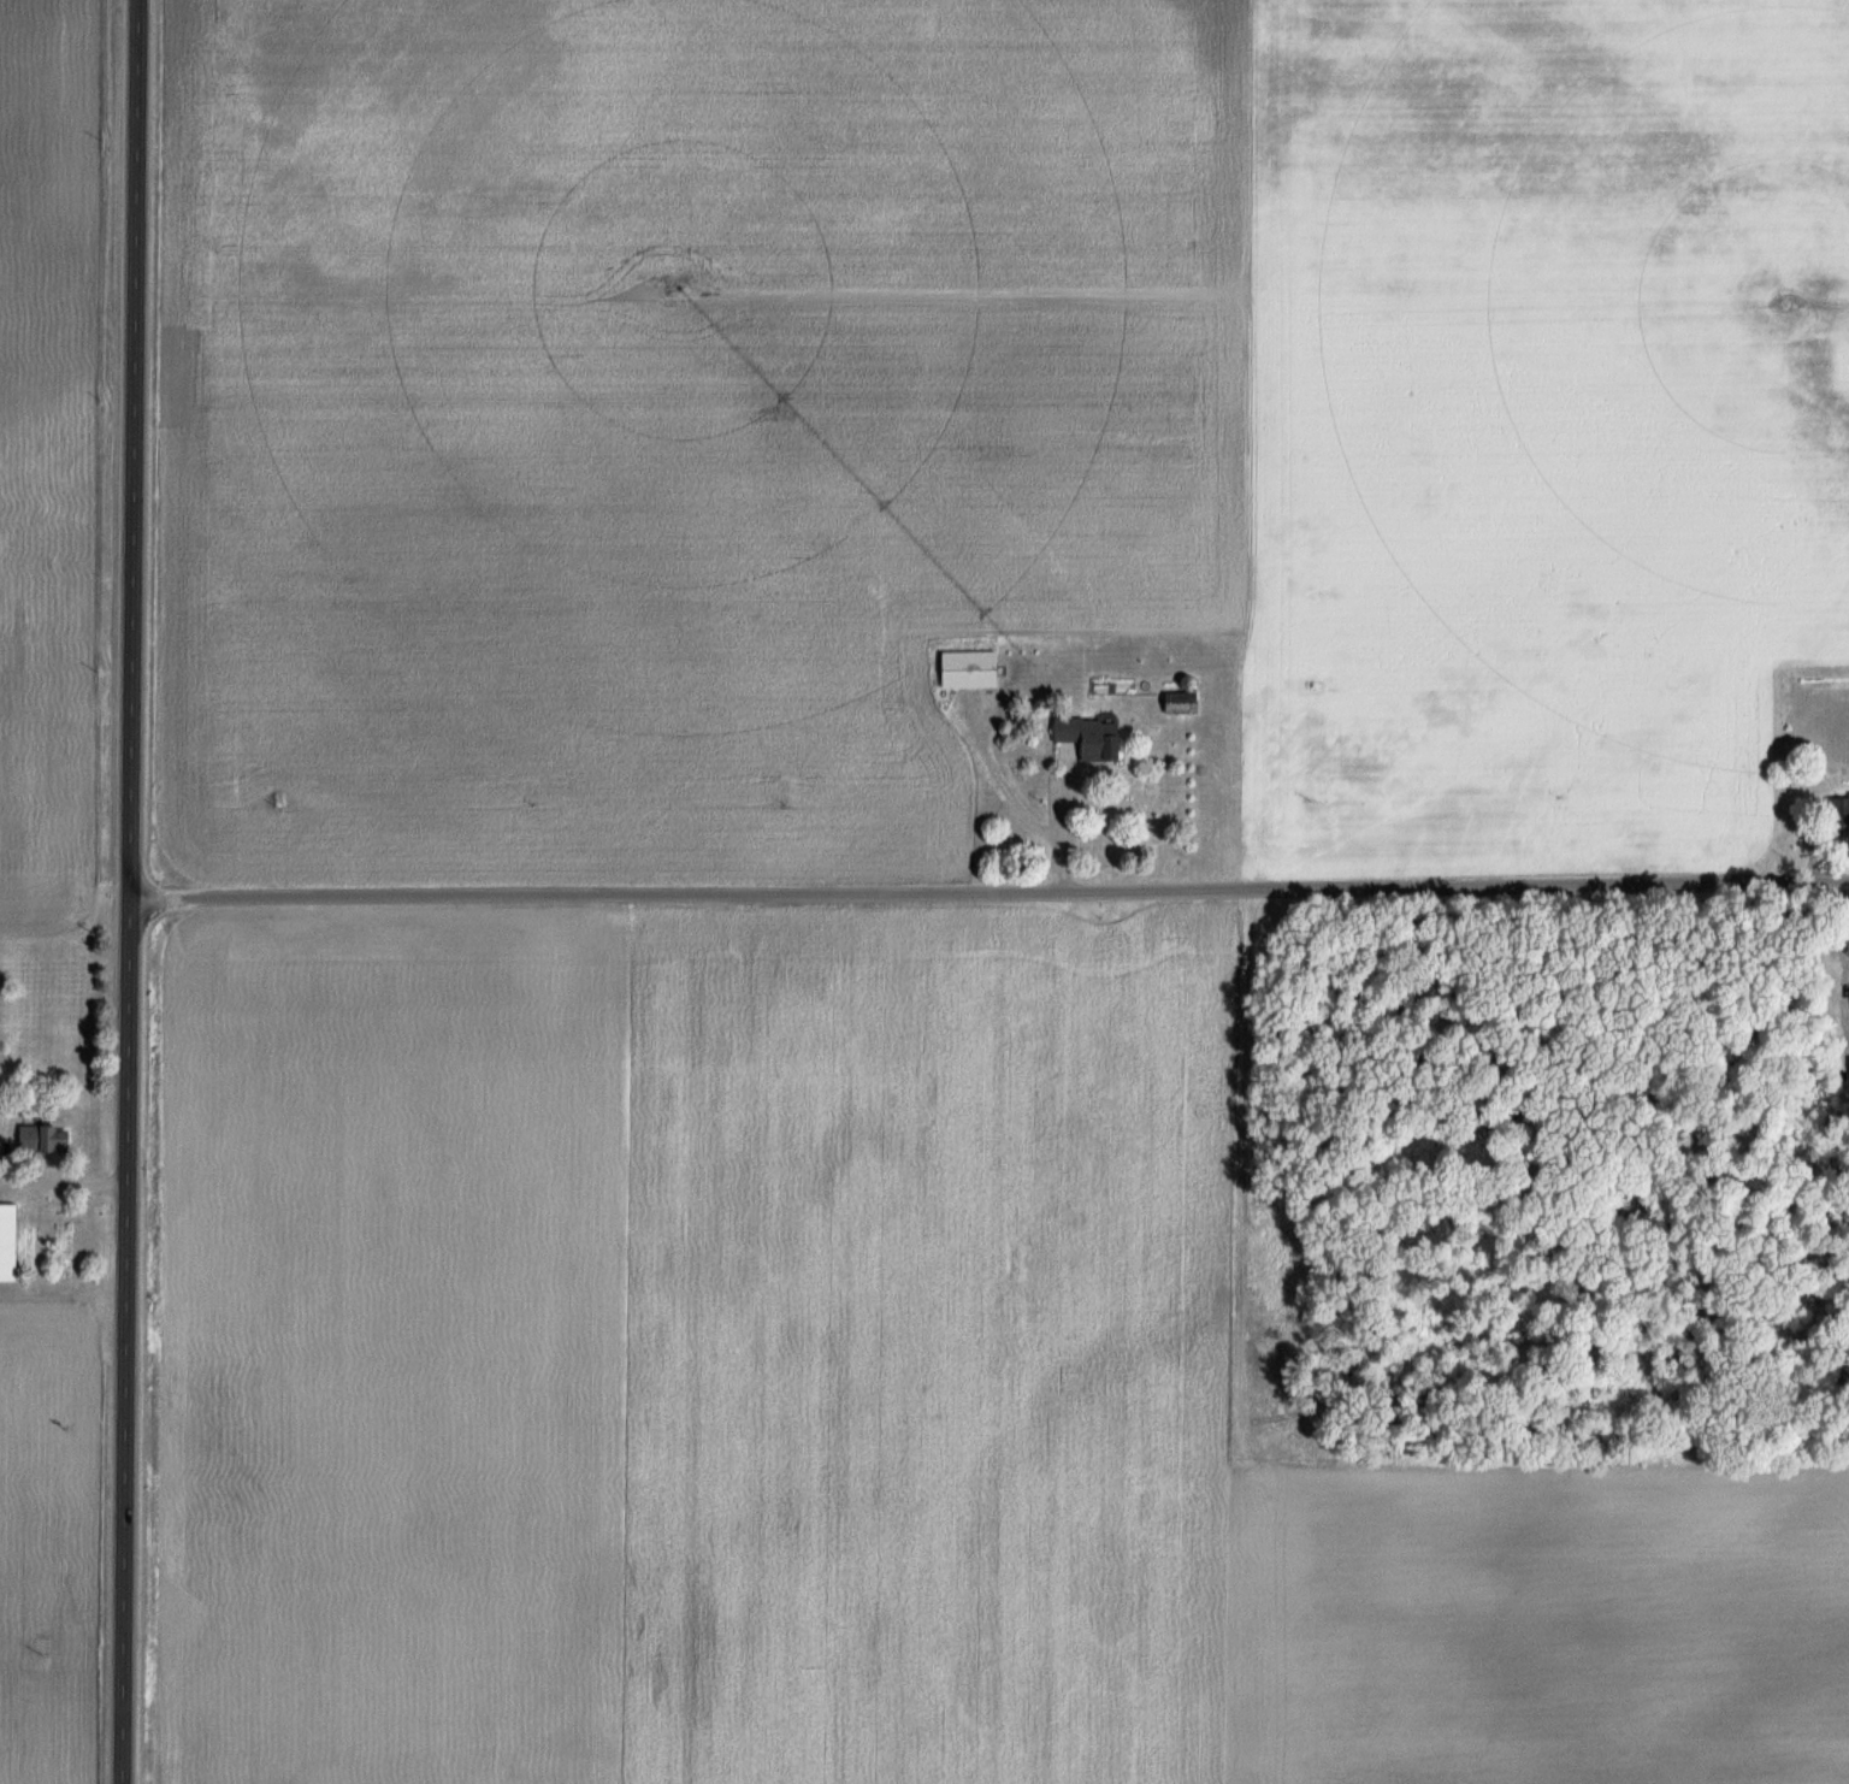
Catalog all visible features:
building: (962, 668)
building: (1174, 703)
building: (1081, 738)
building: (1836, 808)
road: (1064, 823)
road: (988, 891)
road: (129, 892)
building: (1847, 994)
building: (53, 1138)
road: (63, 1181)
building: (12, 1240)

